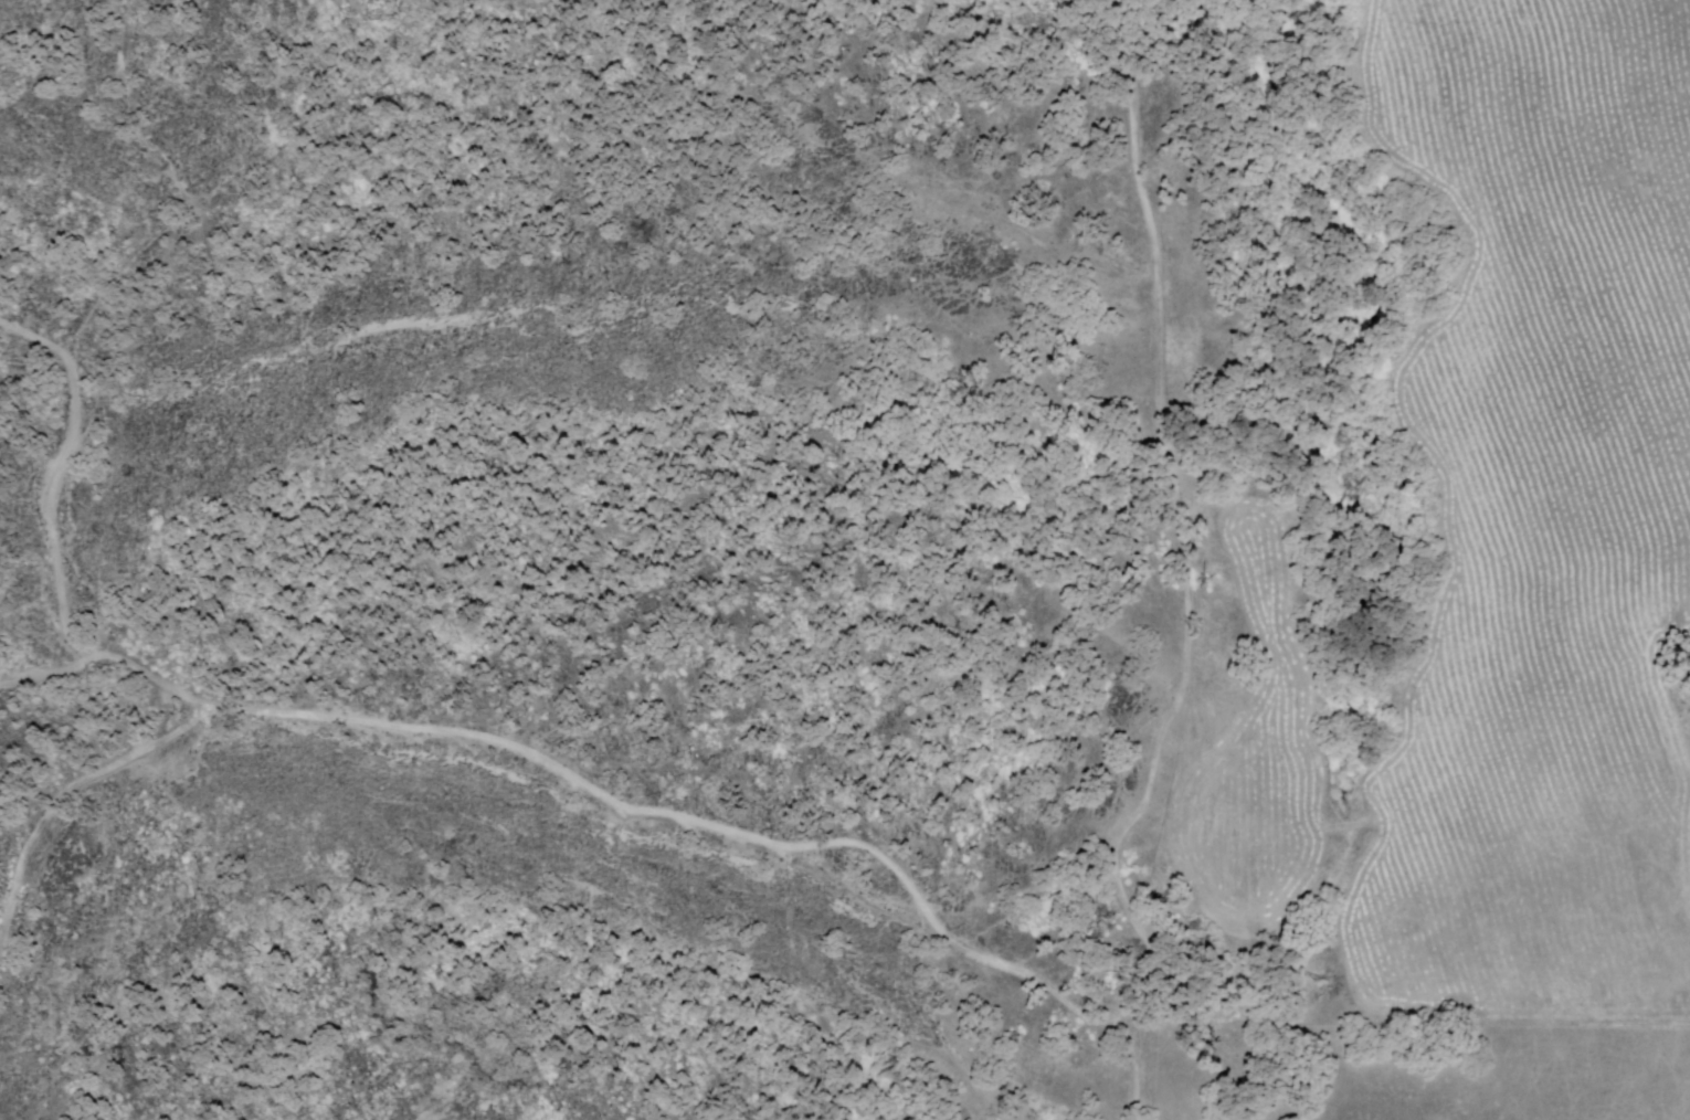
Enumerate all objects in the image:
road: (50, 674)
road: (497, 746)

